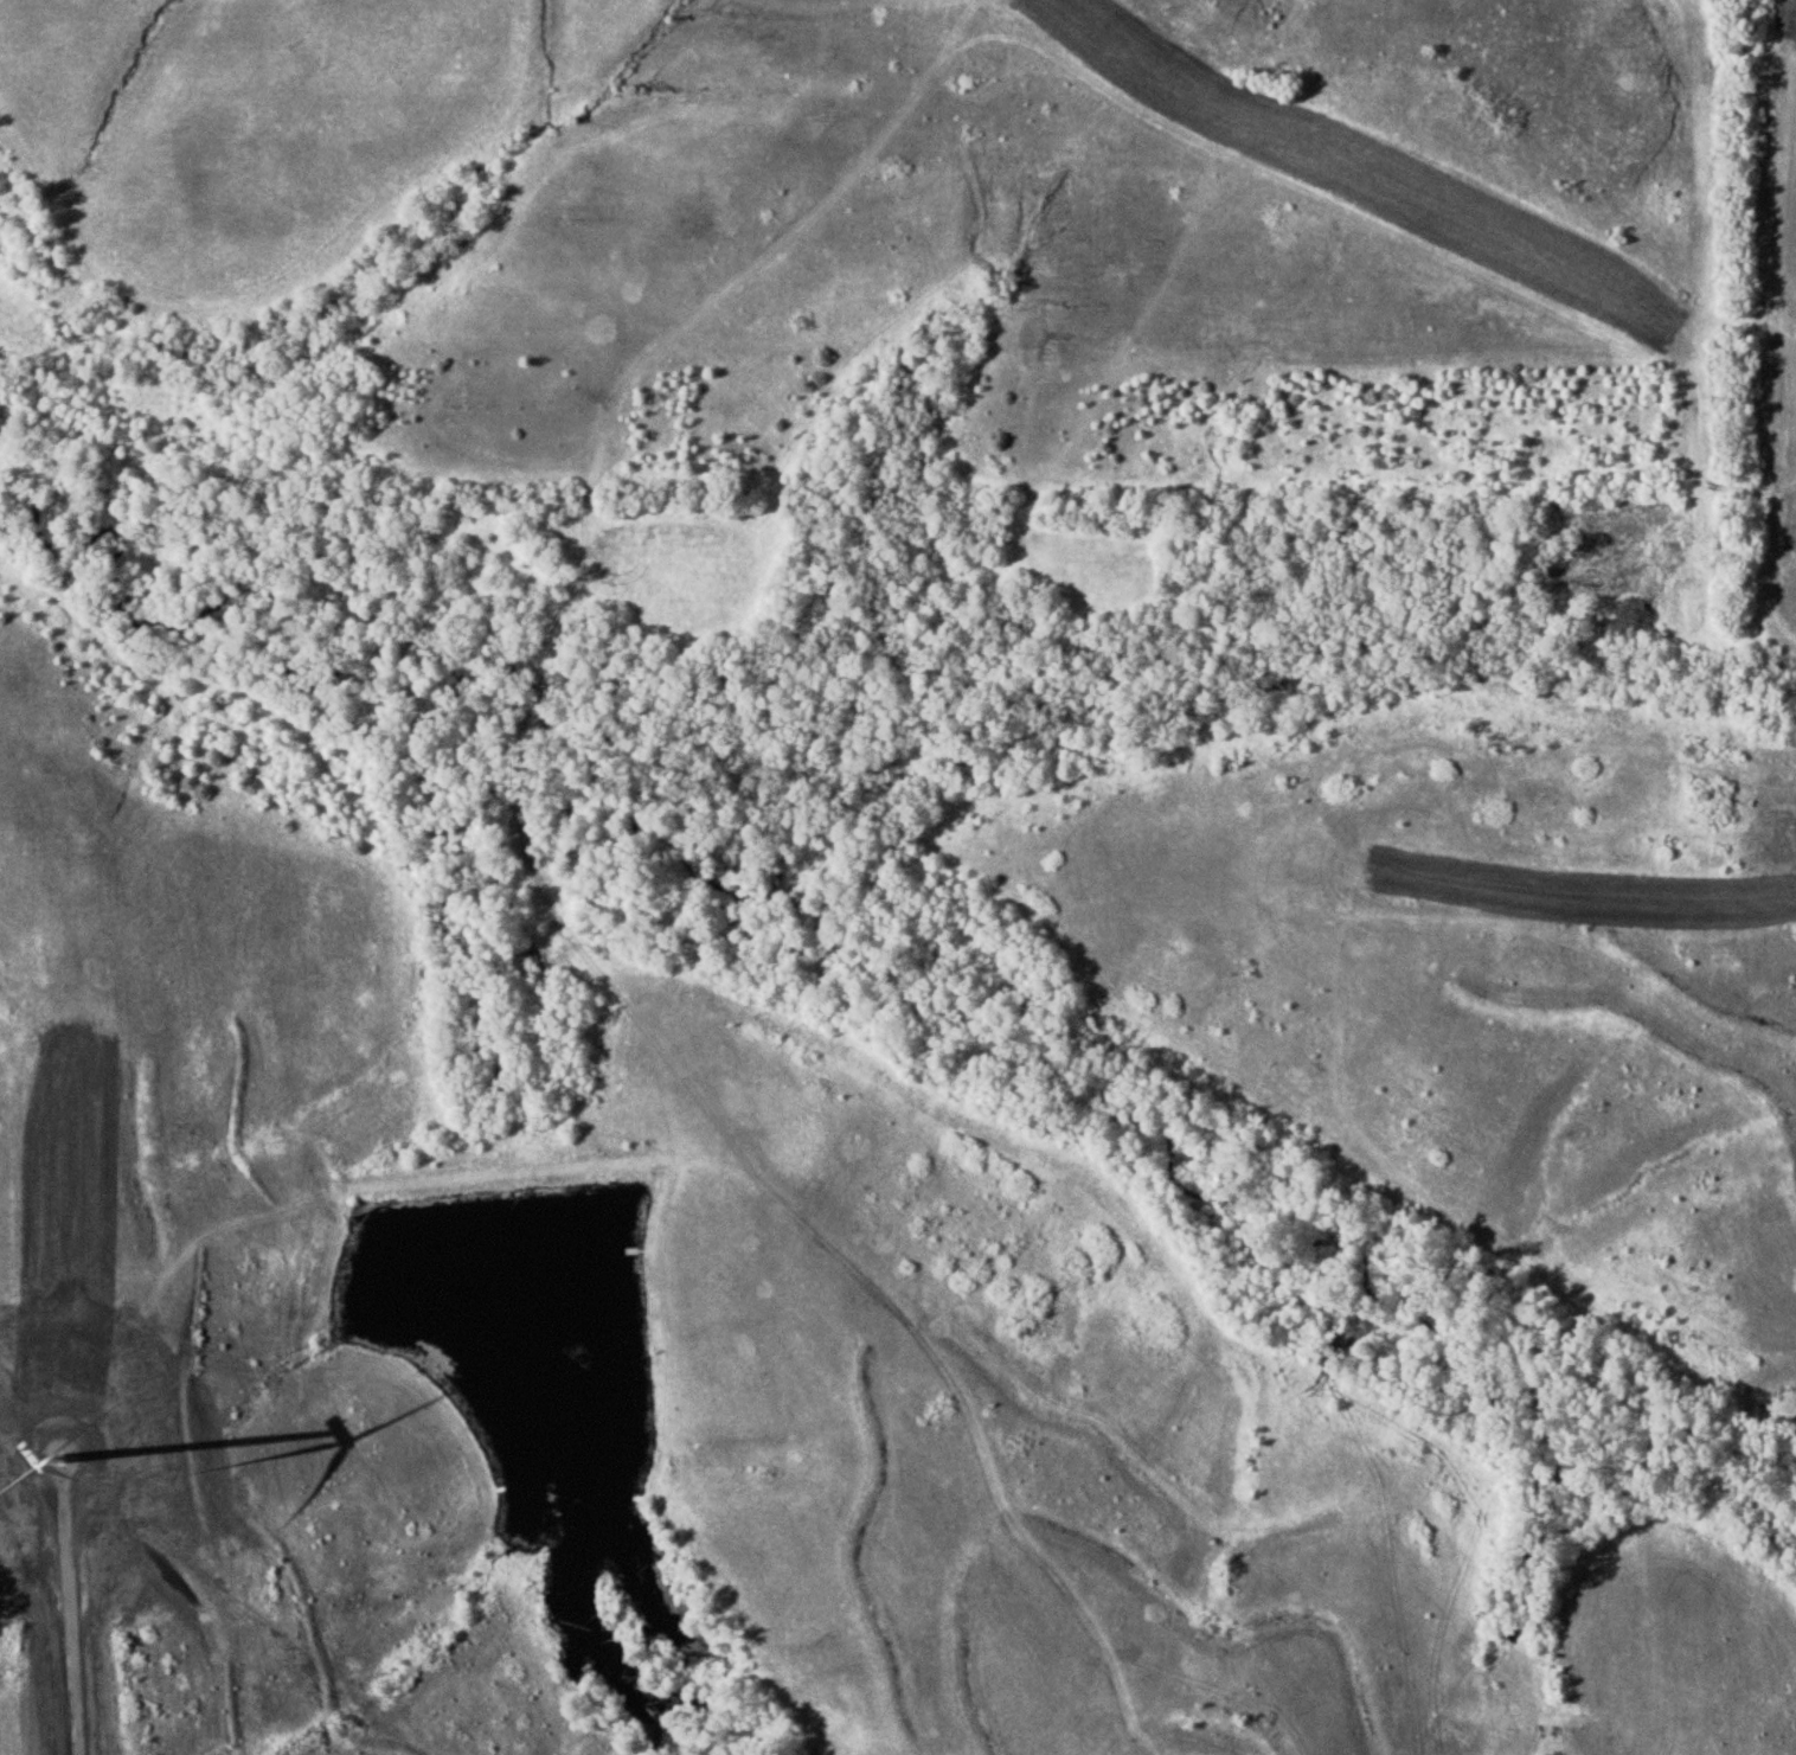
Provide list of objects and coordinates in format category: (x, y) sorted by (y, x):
wind turbine: (64, 1454)

